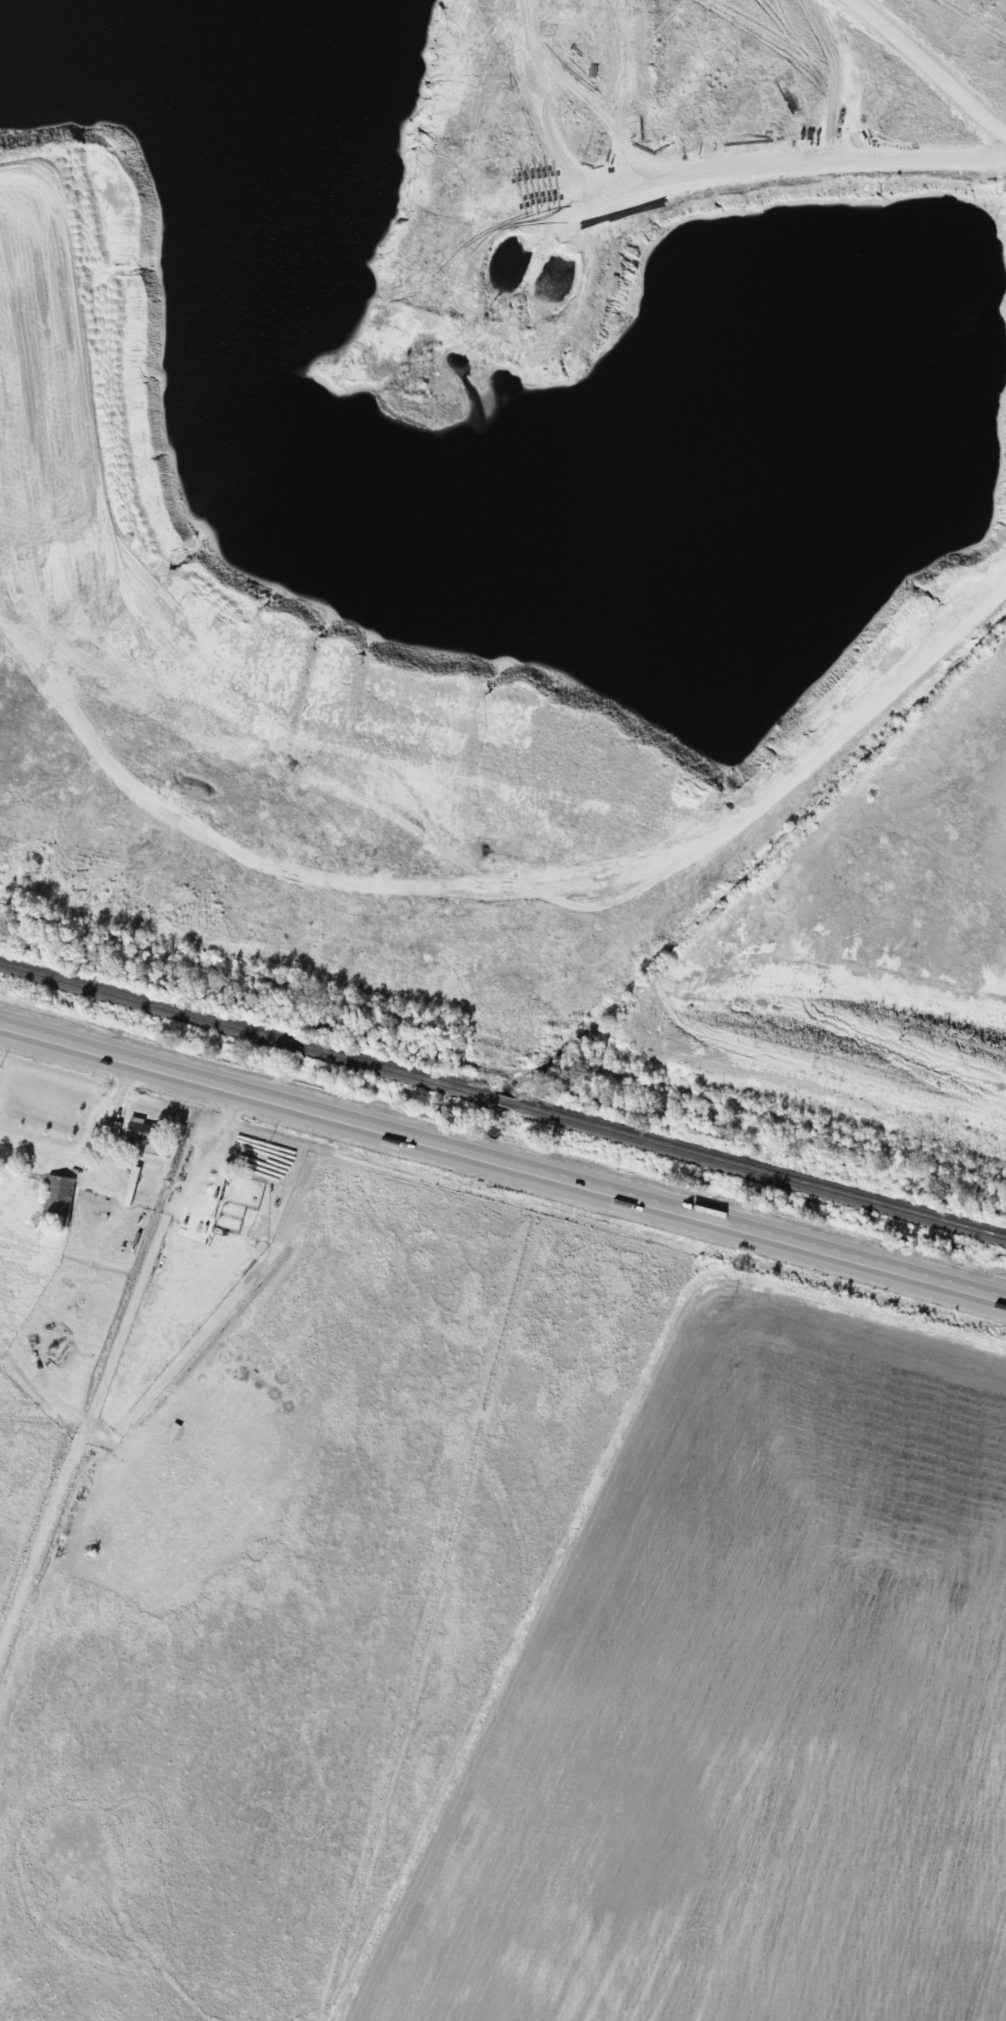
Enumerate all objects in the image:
road: (732, 170)
road: (283, 446)
railway: (249, 1032)
railway: (502, 1101)
building: (143, 1130)
road: (502, 1158)
railway: (756, 1170)
building: (60, 1194)

